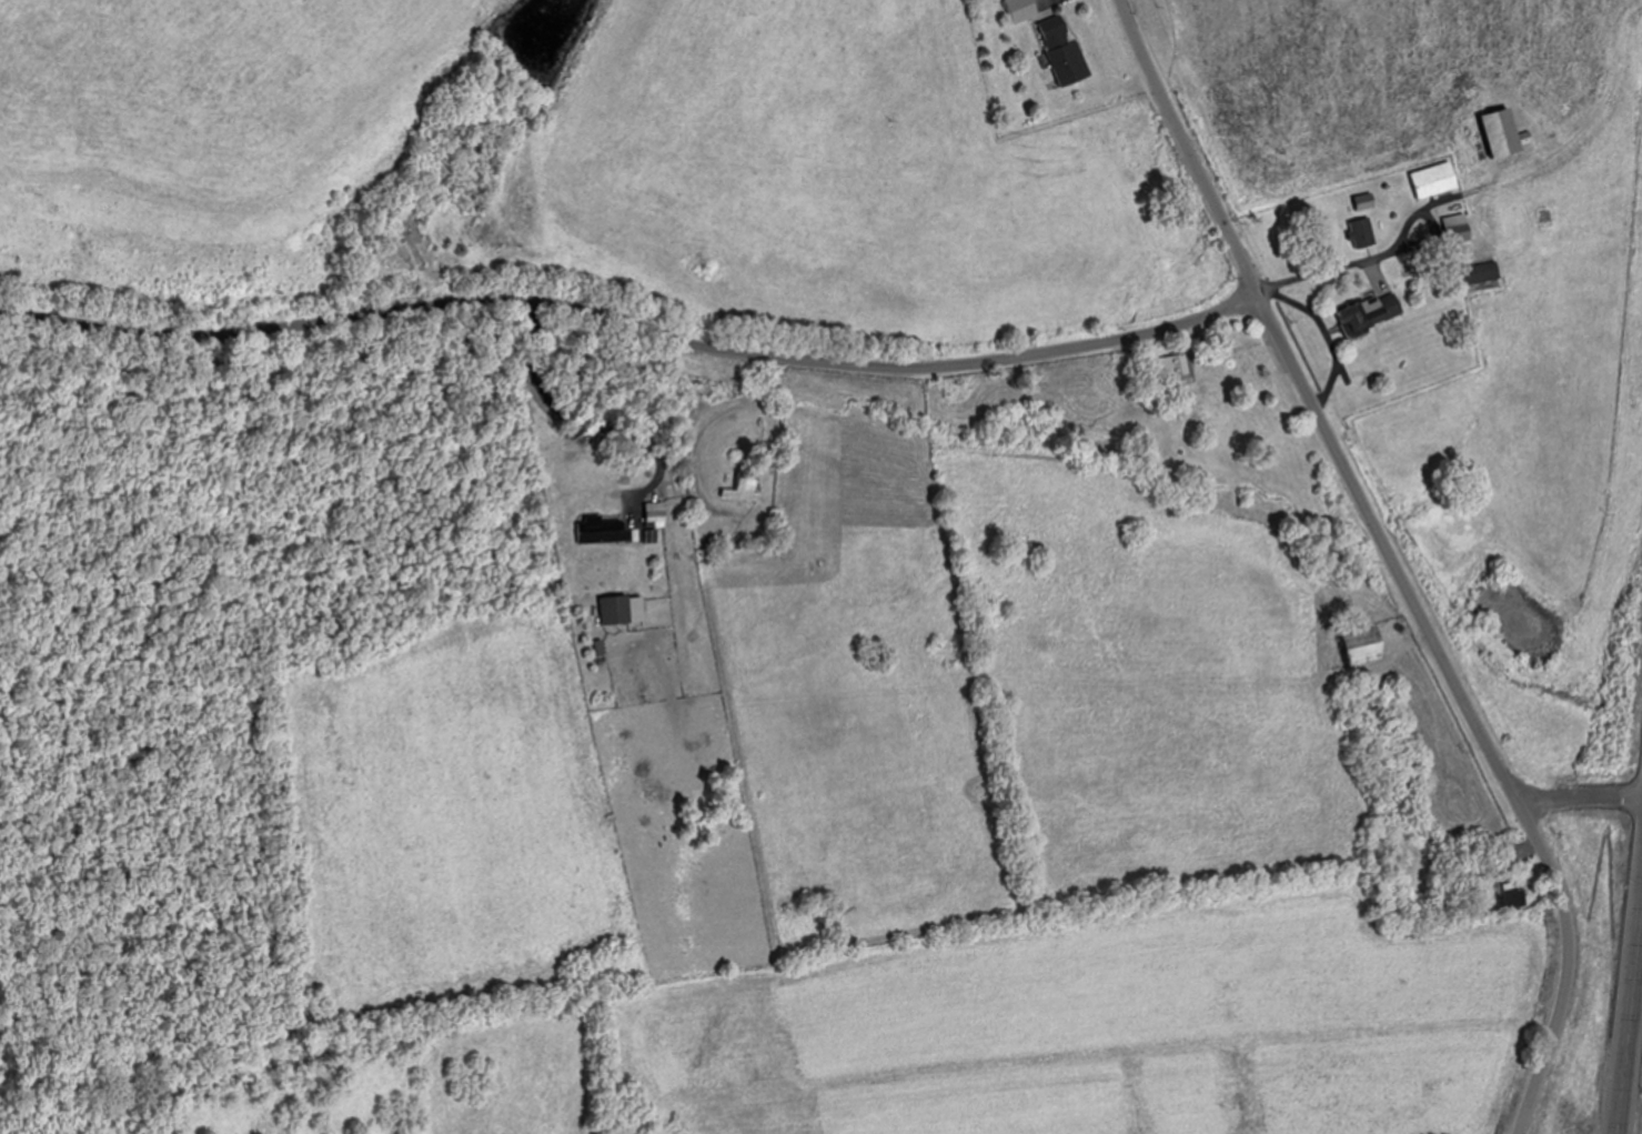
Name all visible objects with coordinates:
building: (1066, 50)
building: (1507, 134)
road: (1187, 149)
building: (1439, 180)
building: (1369, 202)
building: (1462, 228)
building: (1367, 233)
building: (424, 250)
building: (1484, 272)
building: (1374, 313)
road: (633, 323)
building: (1178, 369)
building: (745, 488)
building: (657, 514)
road: (643, 521)
building: (603, 531)
building: (618, 611)
building: (1366, 645)
road: (1464, 705)
road: (1579, 797)
building: (1513, 894)
road: (1630, 1011)

